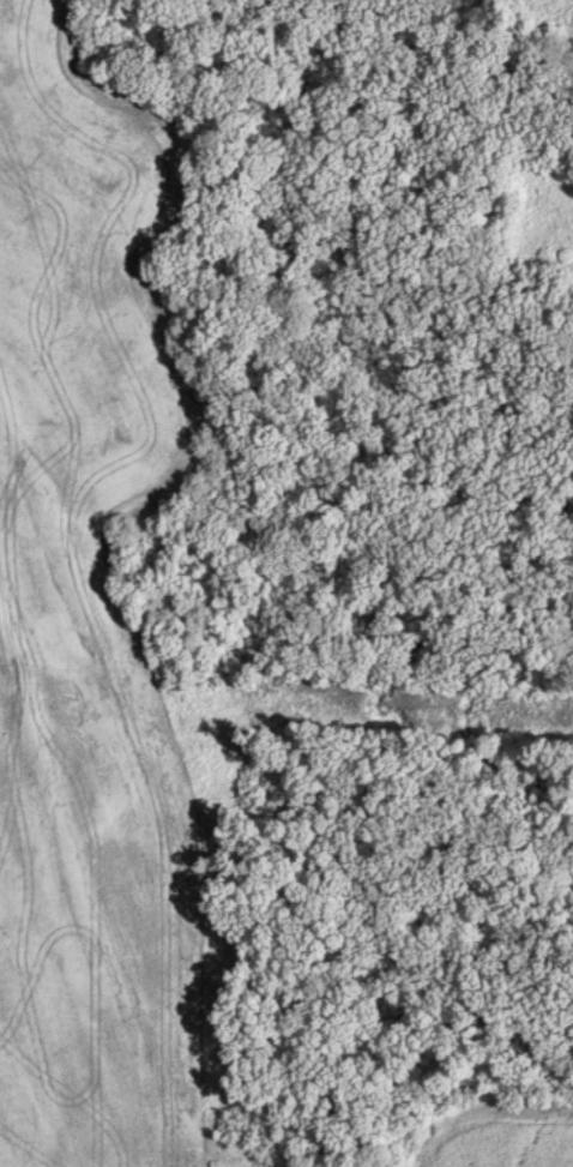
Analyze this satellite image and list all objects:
crop: (95, 628)
crop: (494, 1133)

